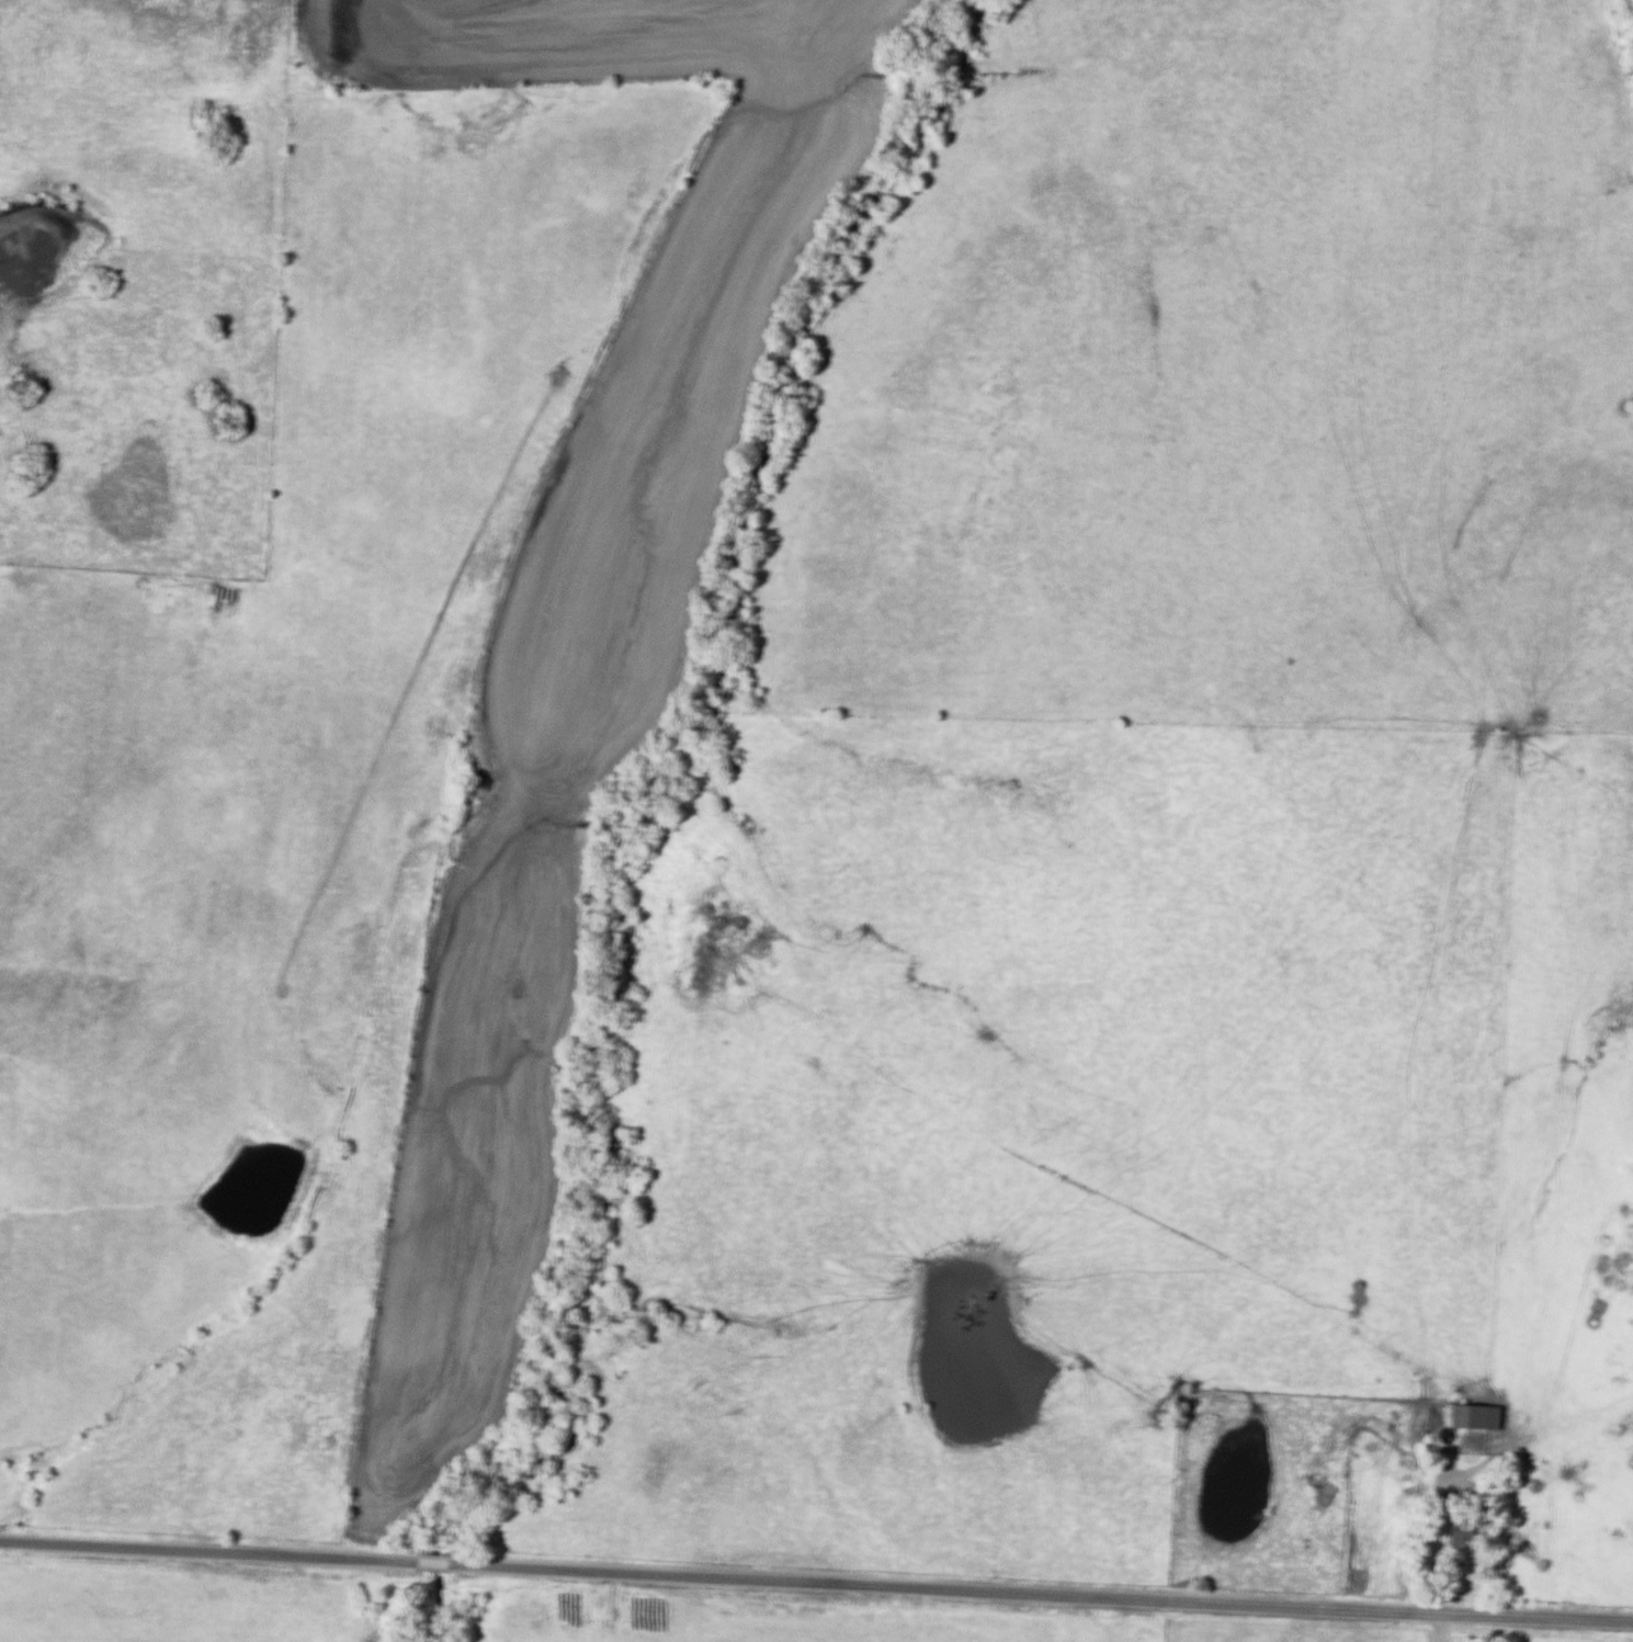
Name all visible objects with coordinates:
crop: (570, 657)
building: (1477, 1419)
road: (1427, 1538)
building: (1467, 1541)
road: (816, 1585)
road: (1444, 1628)

